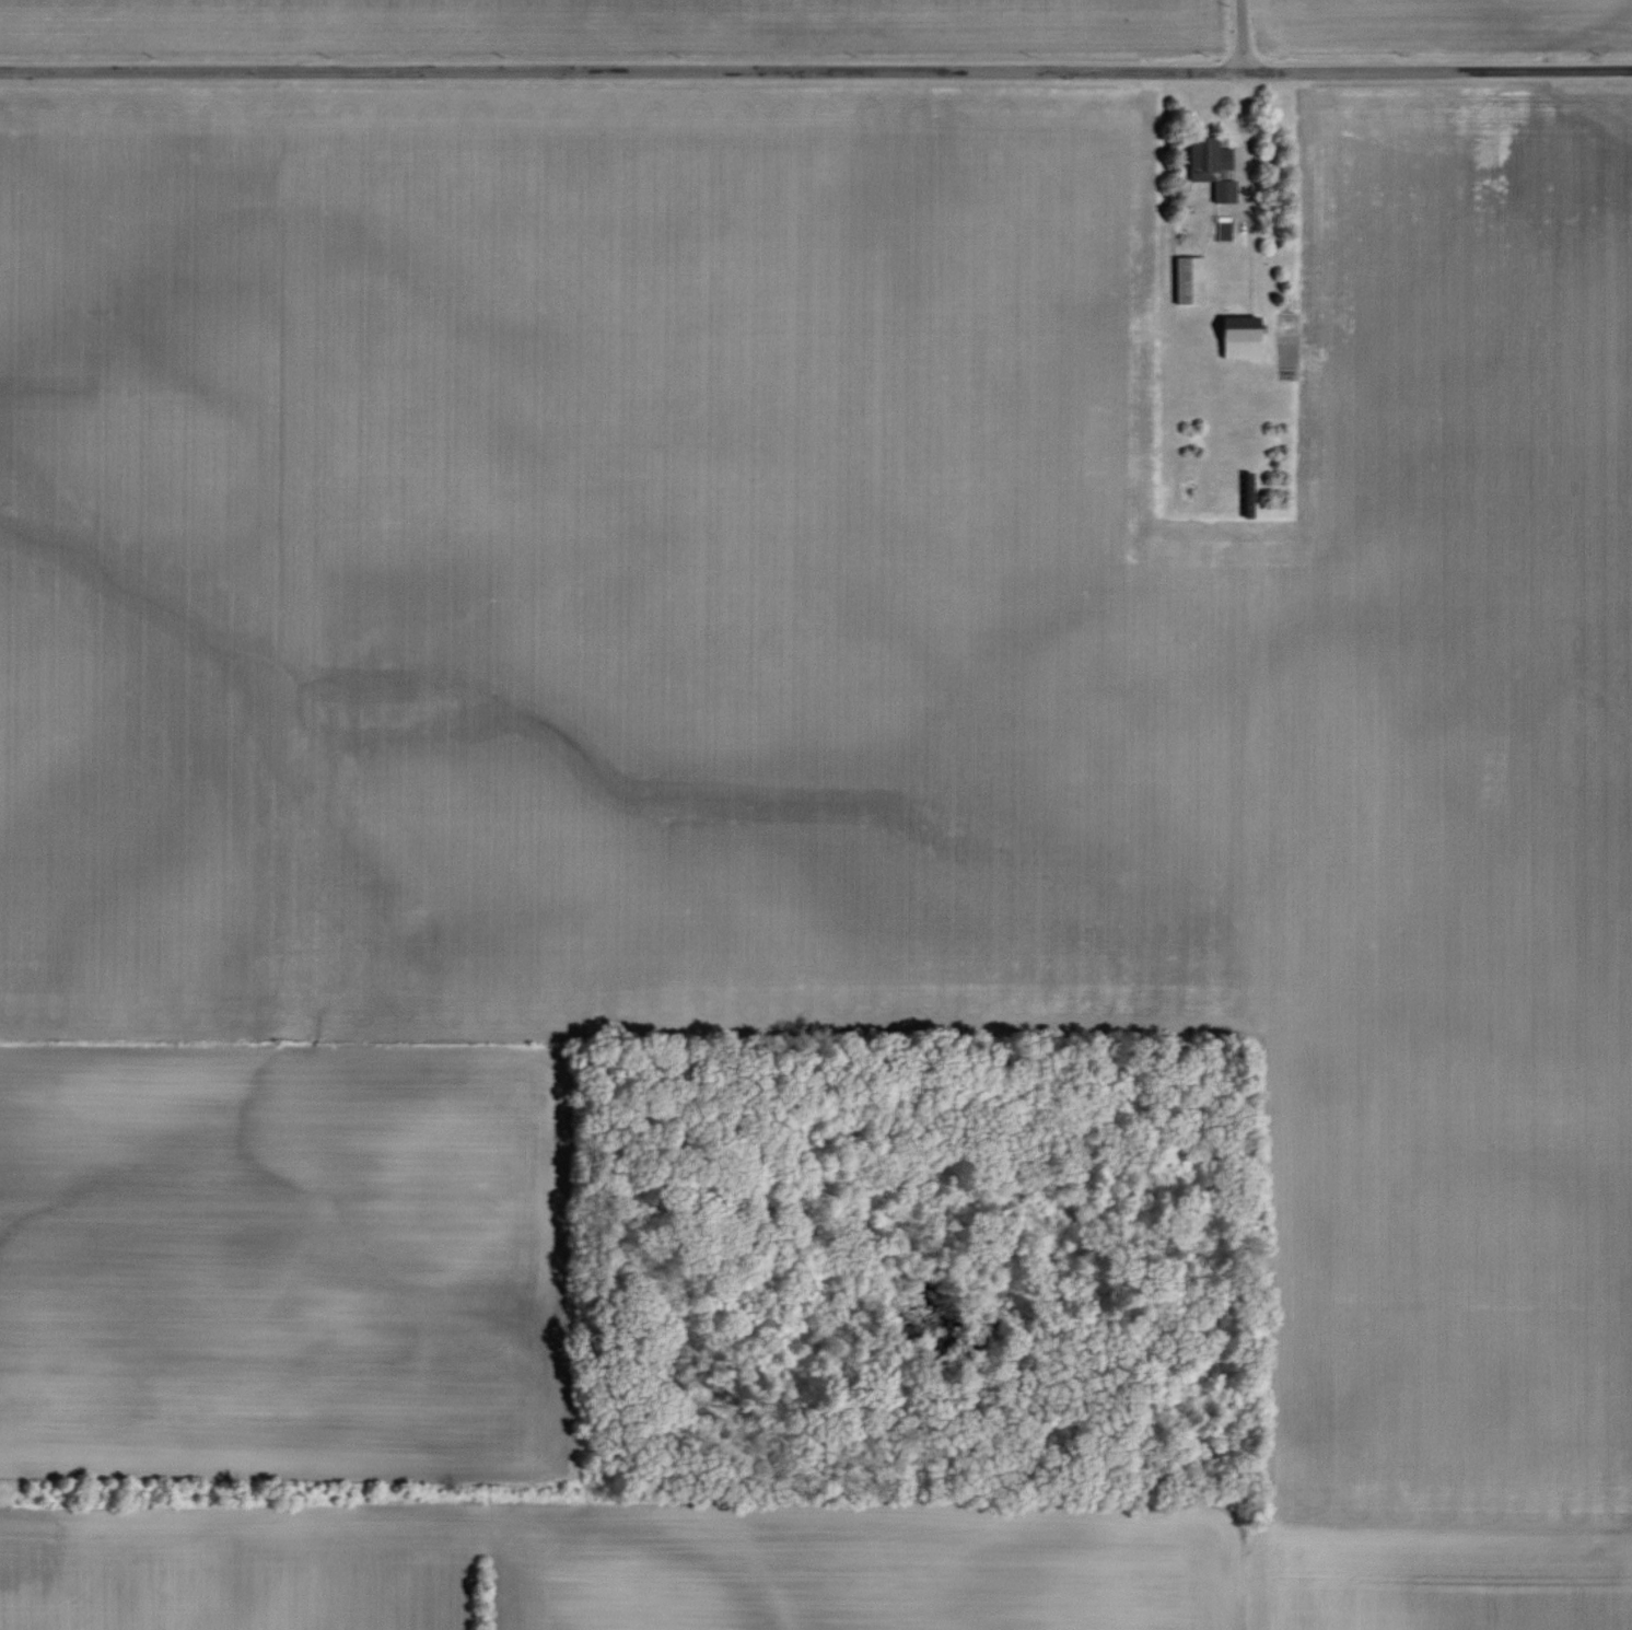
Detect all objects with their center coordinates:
road: (1234, 36)
road: (815, 72)
road: (1249, 141)
building: (1210, 166)
building: (1187, 279)
building: (1238, 336)

